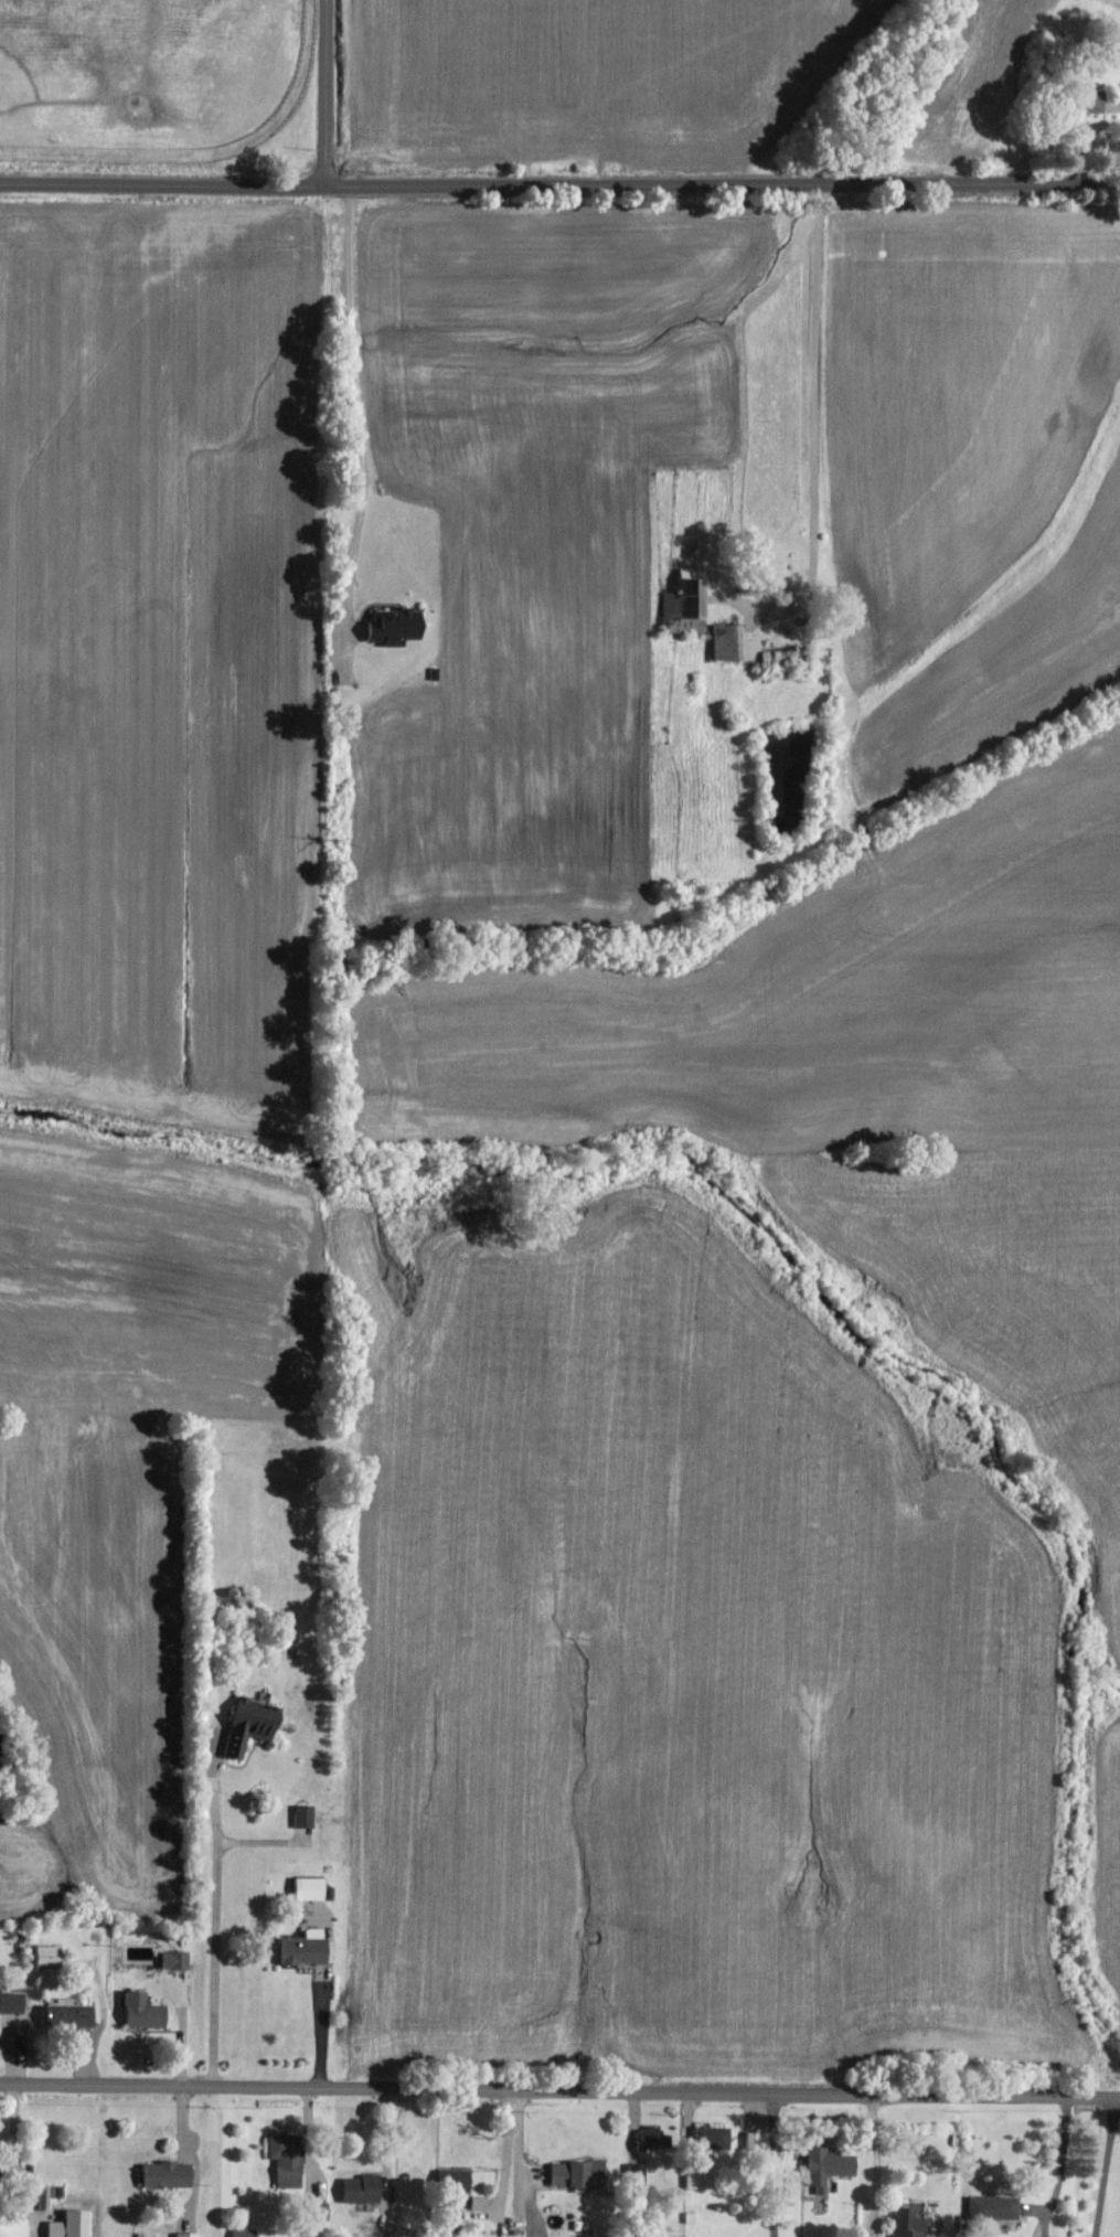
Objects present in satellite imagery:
road: (321, 92)
building: (1079, 100)
road: (559, 184)
road: (817, 417)
road: (360, 423)
building: (690, 604)
building: (399, 627)
building: (730, 642)
building: (781, 657)
building: (256, 1725)
building: (308, 1815)
building: (313, 1888)
road: (213, 1924)
building: (309, 1948)
building: (52, 1956)
building: (179, 1959)
building: (13, 2002)
building: (147, 2011)
building: (73, 2016)
road: (559, 2090)
building: (654, 2137)
building: (716, 2137)
building: (756, 2139)
building: (290, 2160)
road: (775, 2165)
road: (1103, 2165)
building: (831, 2167)
building: (582, 2173)
building: (171, 2174)
building: (458, 2179)
building: (0, 2182)
building: (366, 2188)
building: (482, 2203)
building: (992, 2207)
building: (908, 2220)
building: (17, 2226)
building: (61, 2229)
building: (247, 2233)
building: (190, 2234)

